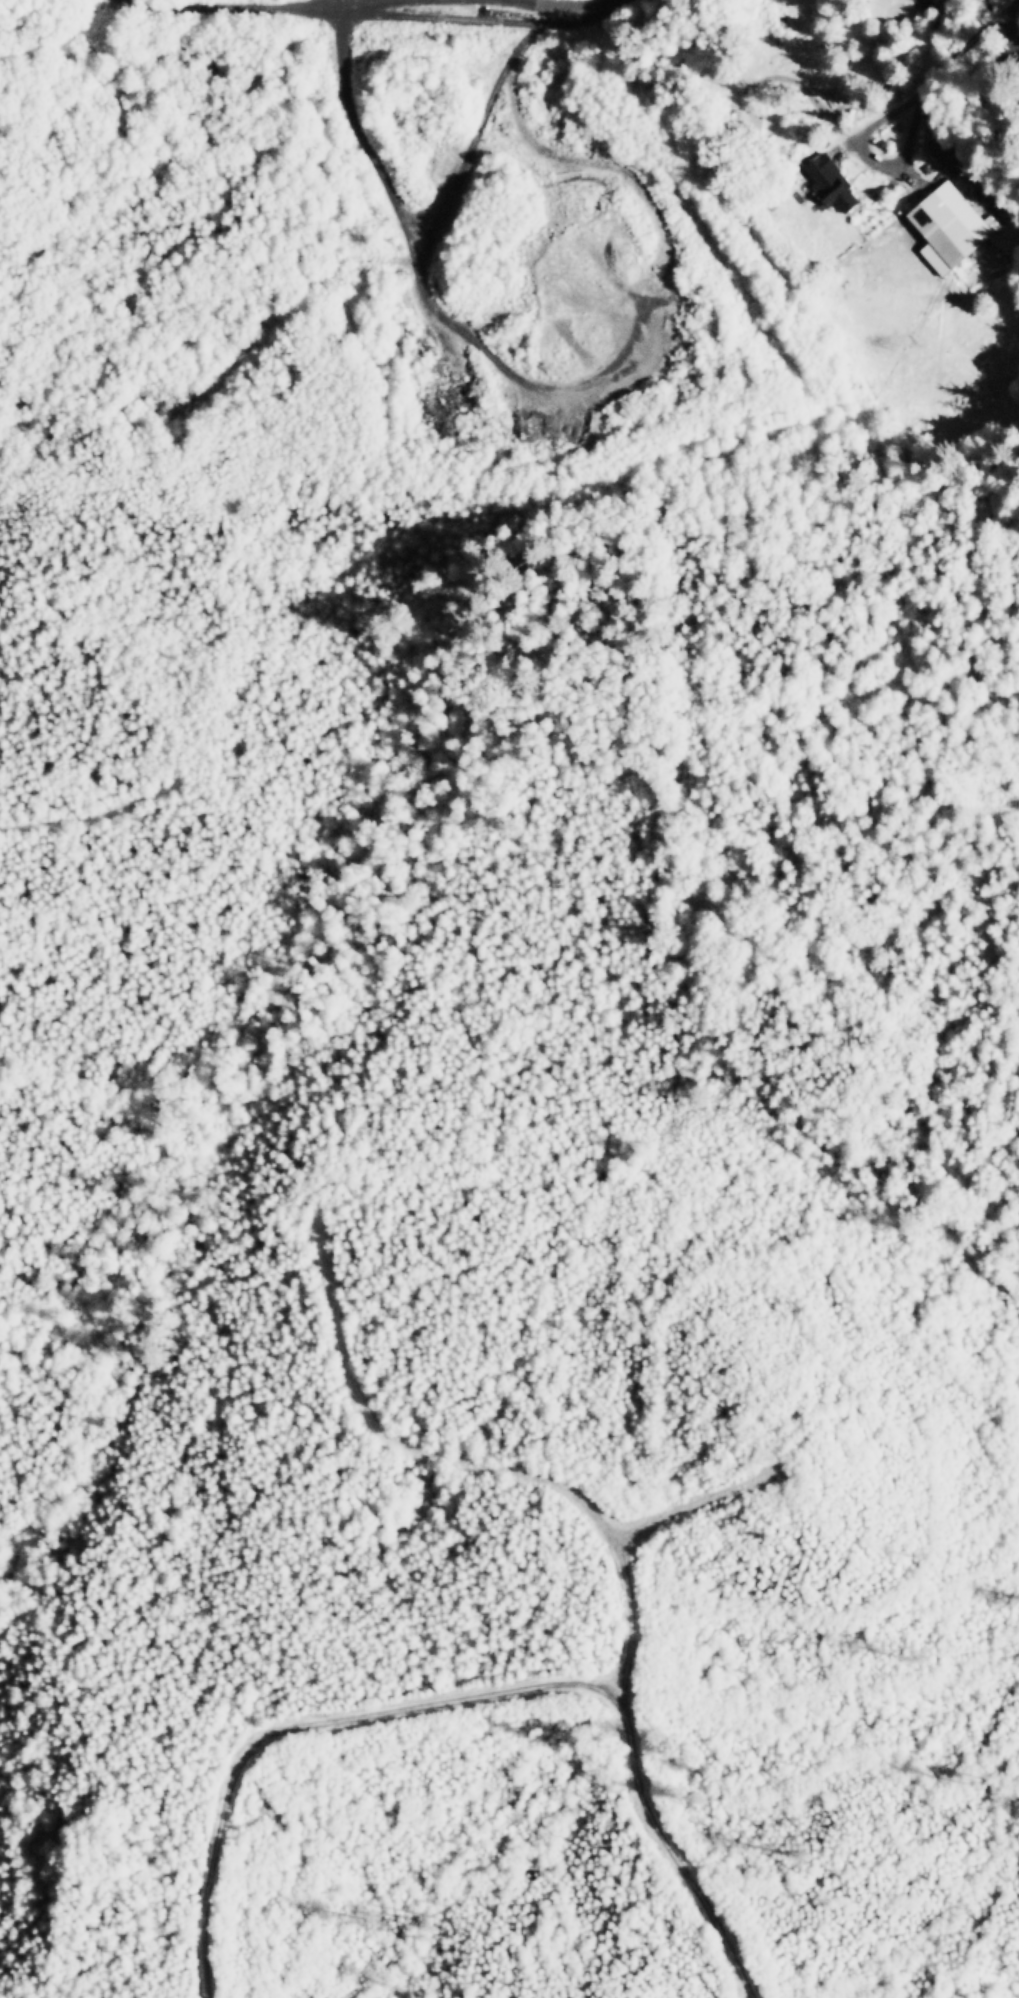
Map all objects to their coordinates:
road: (269, 6)
road: (572, 7)
road: (385, 13)
building: (467, 19)
road: (468, 19)
road: (560, 24)
road: (477, 127)
road: (571, 161)
building: (829, 181)
building: (946, 225)
quarry: (548, 254)
road: (454, 326)
road: (390, 1440)
road: (629, 1537)
road: (469, 1699)

